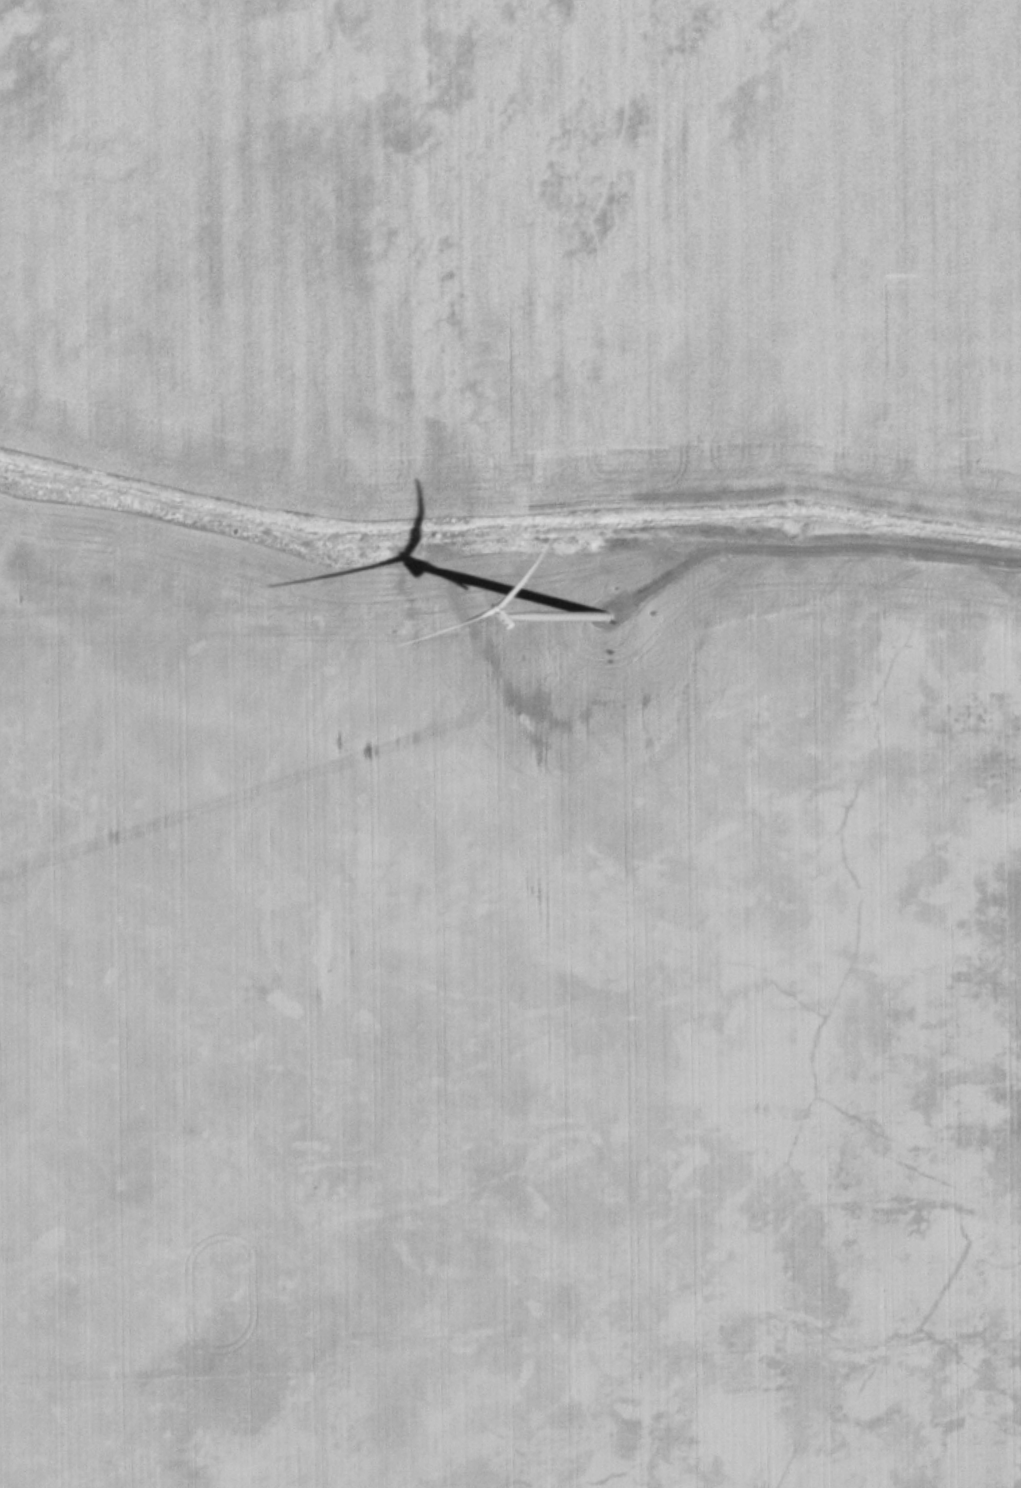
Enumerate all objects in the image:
road: (834, 537)
wind turbine: (602, 617)

